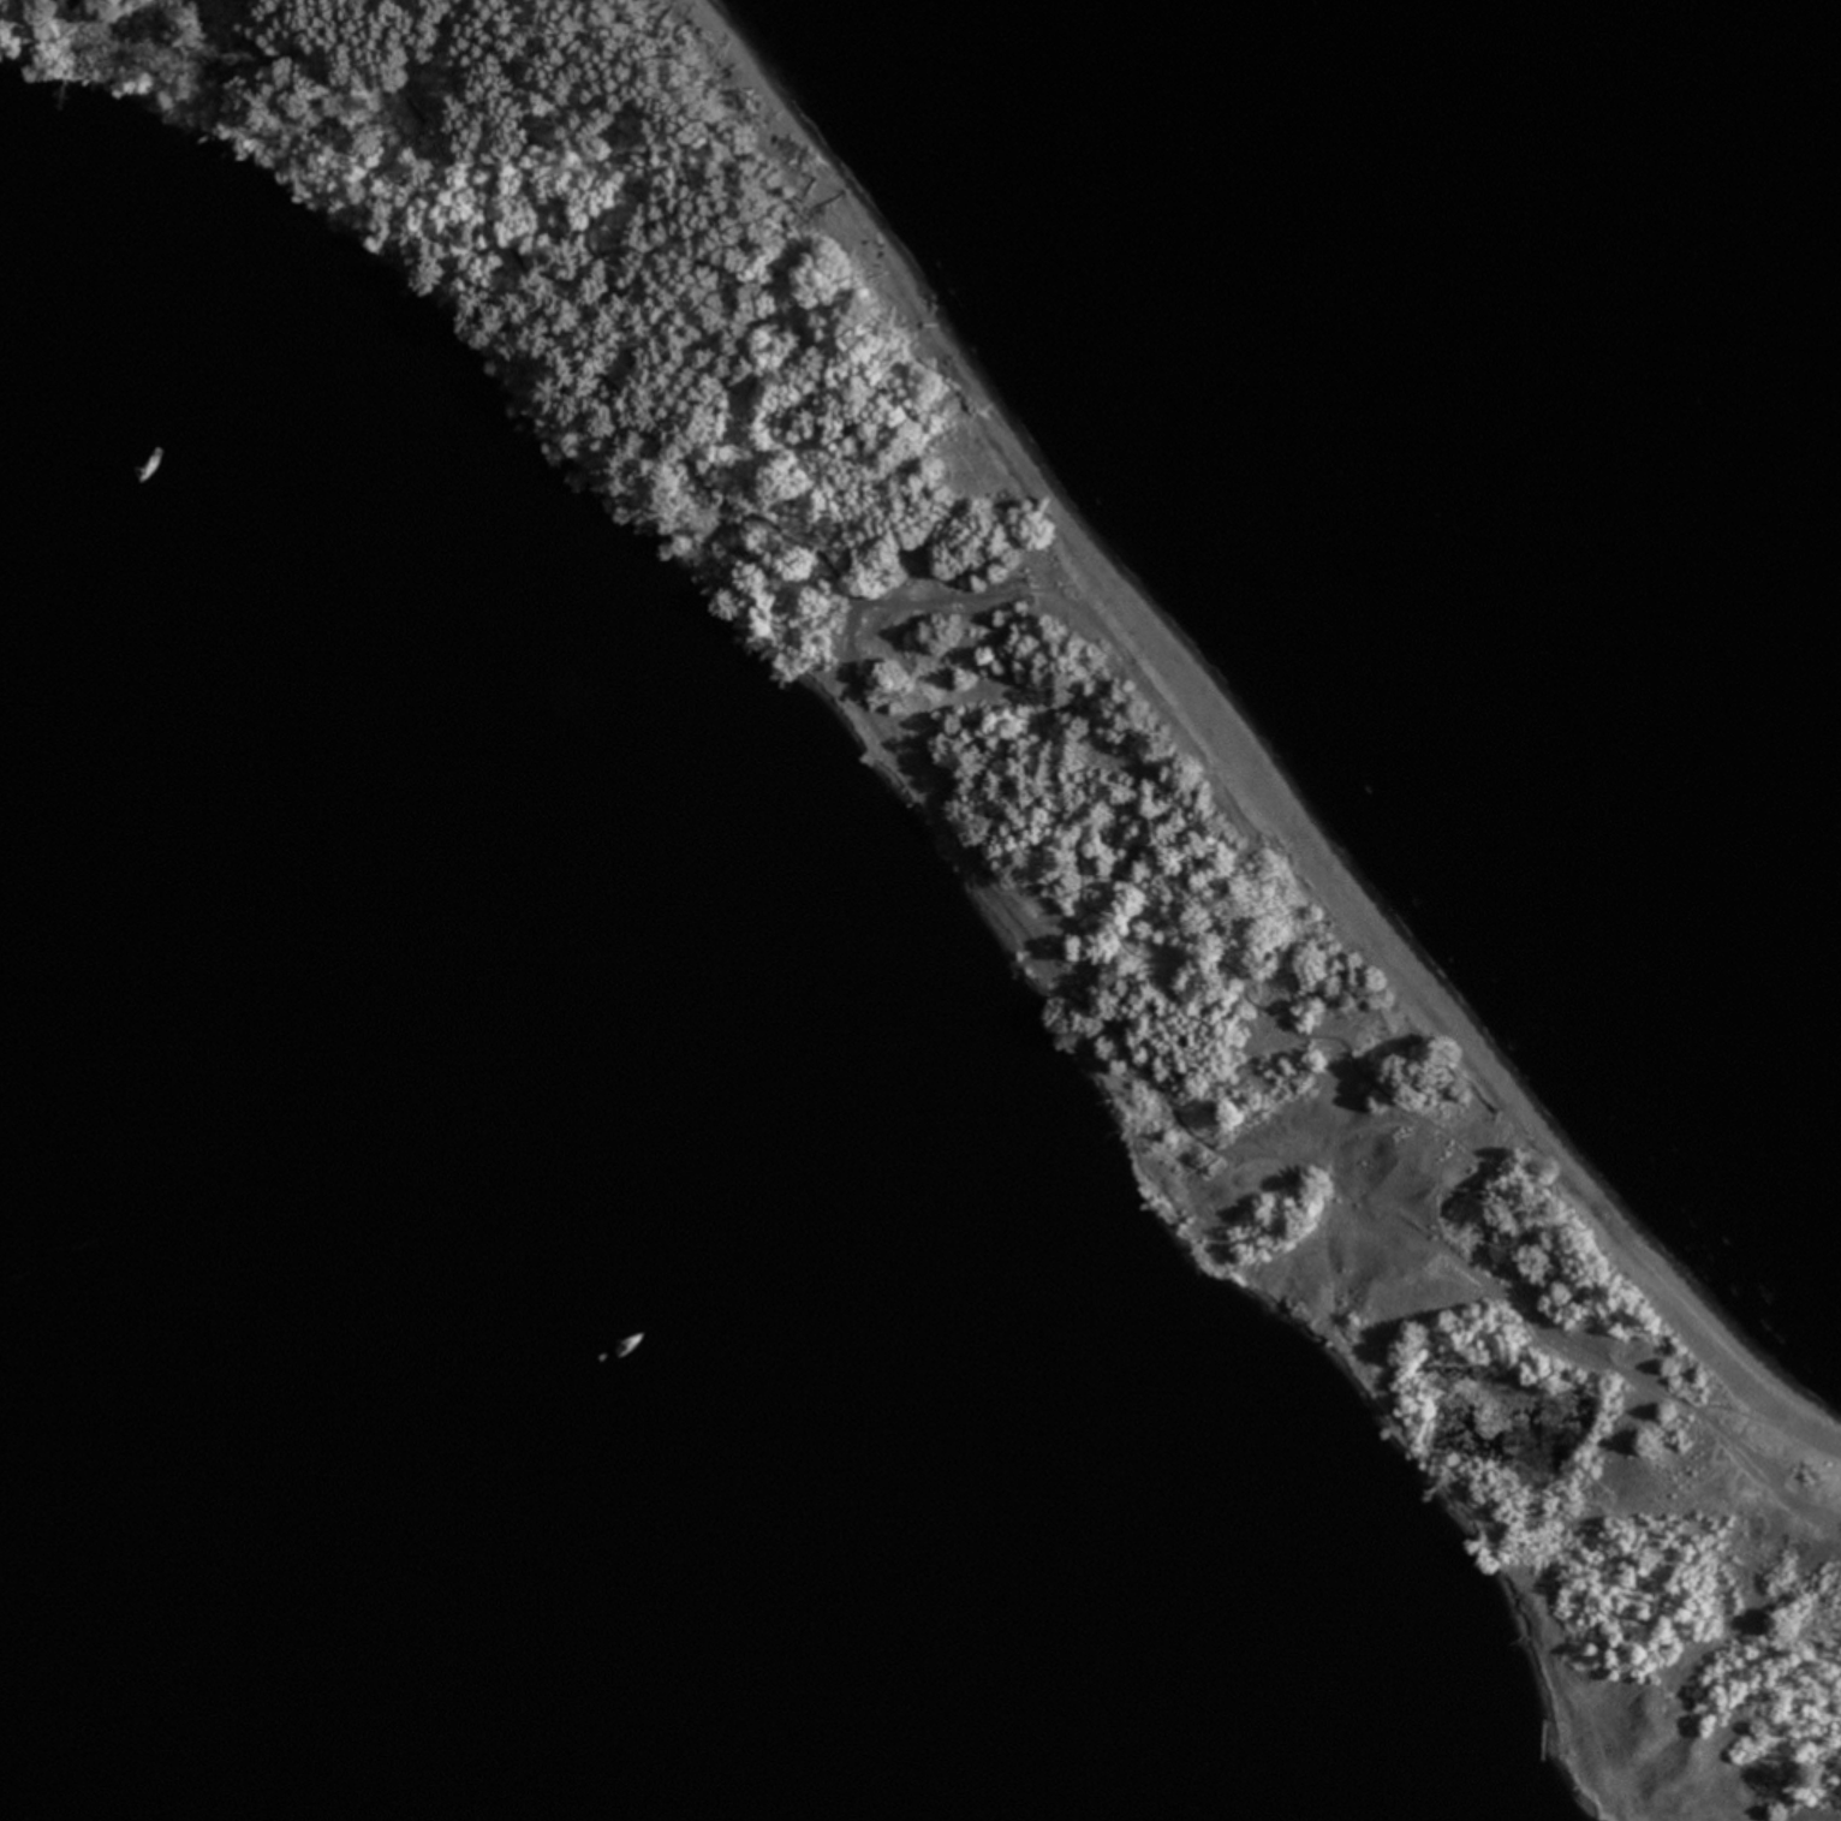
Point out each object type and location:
road: (983, 871)

